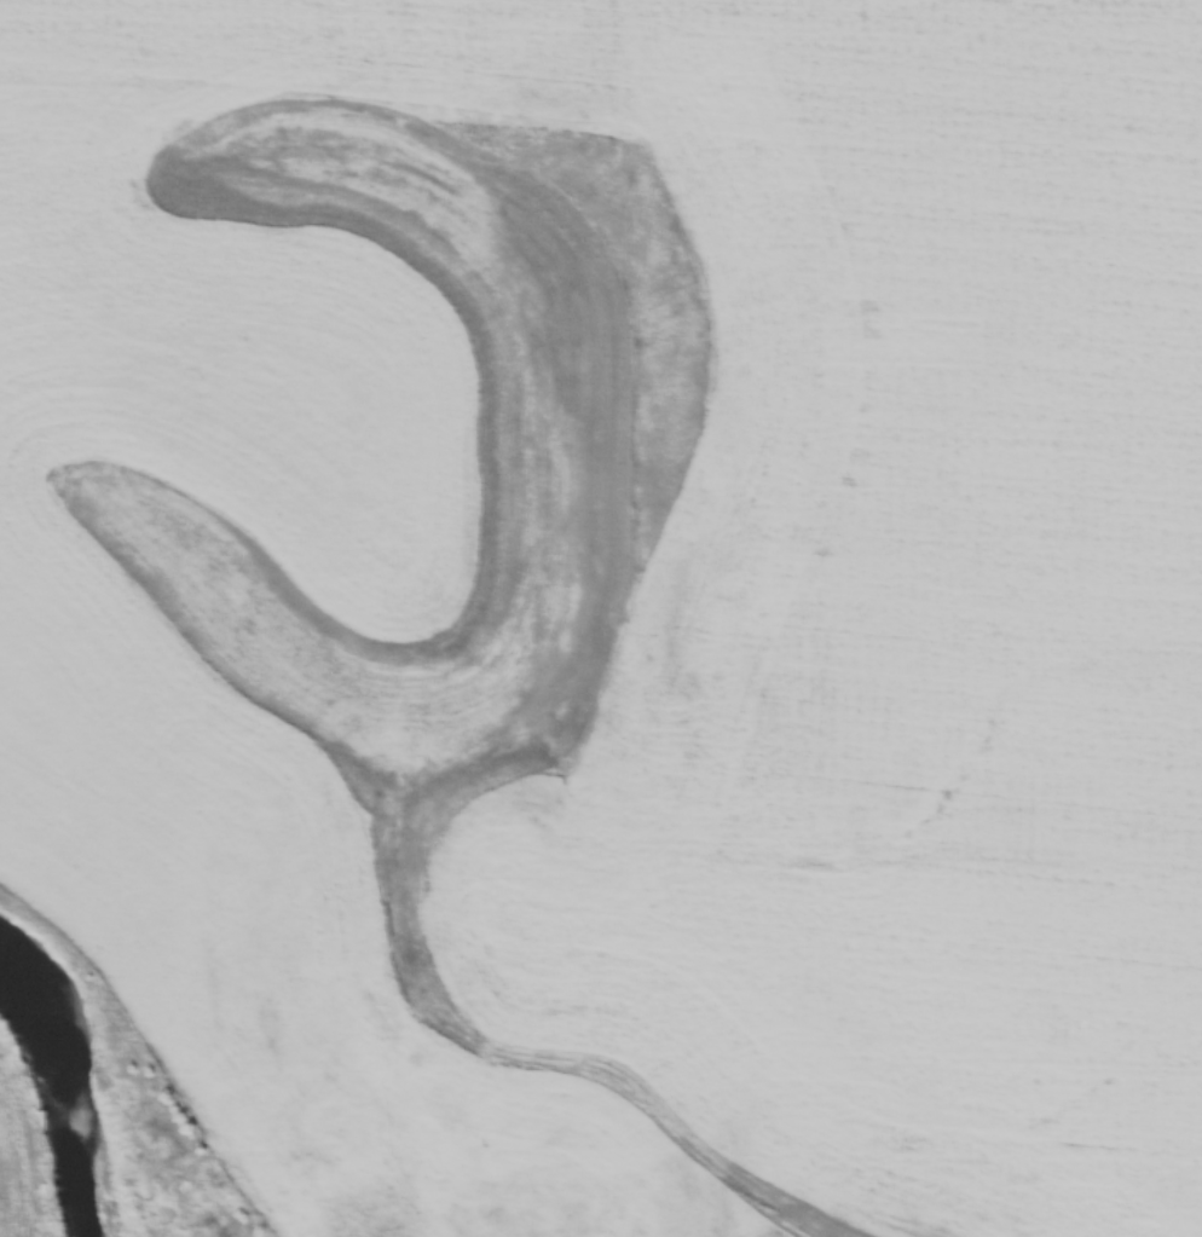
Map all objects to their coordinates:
river: (58, 1102)

